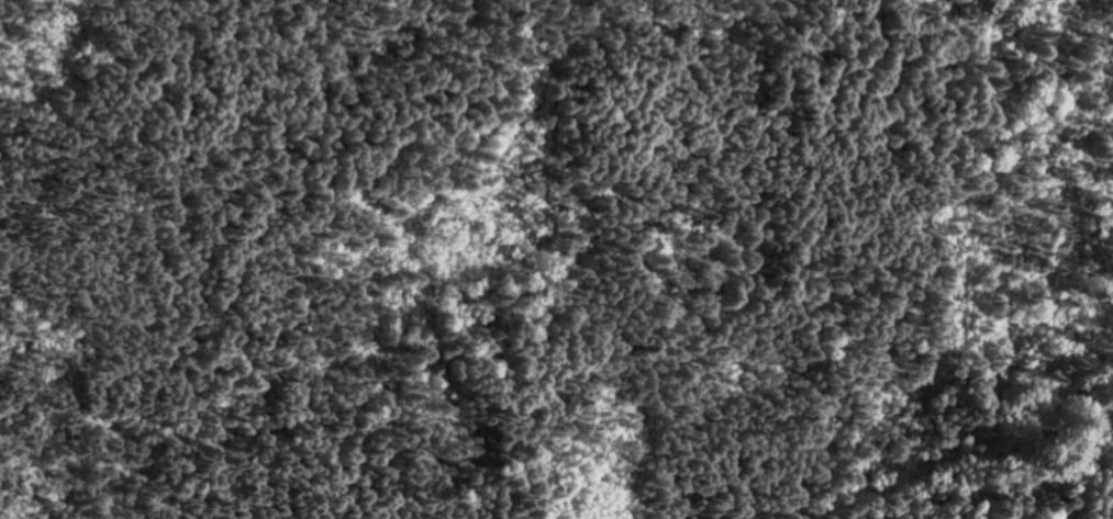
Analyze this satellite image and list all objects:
road: (1075, 462)

